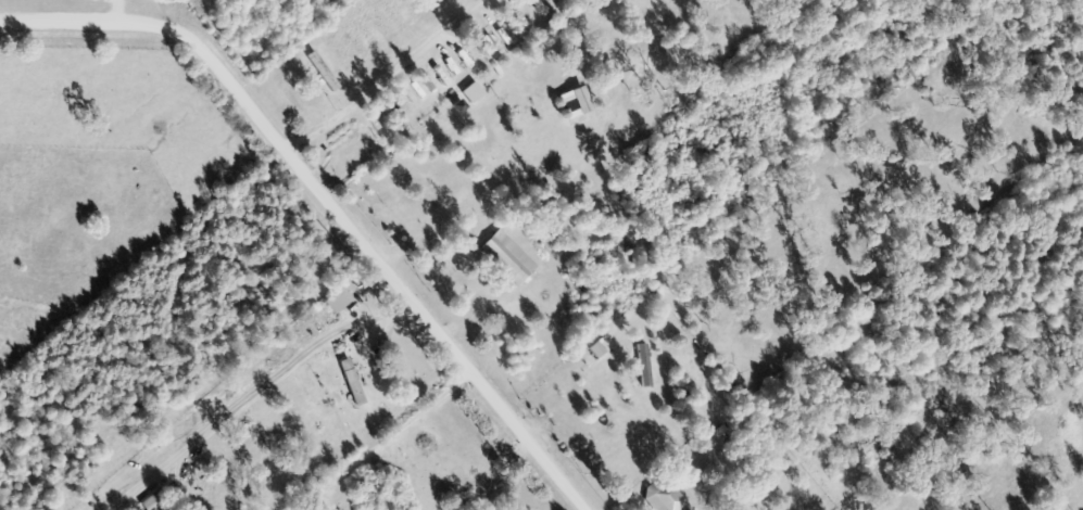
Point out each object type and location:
building: (414, 8)
building: (494, 18)
building: (373, 34)
building: (351, 50)
building: (456, 54)
building: (319, 74)
road: (382, 75)
building: (290, 97)
building: (400, 104)
building: (345, 138)
road: (327, 200)
building: (506, 257)
building: (337, 301)
building: (662, 496)

